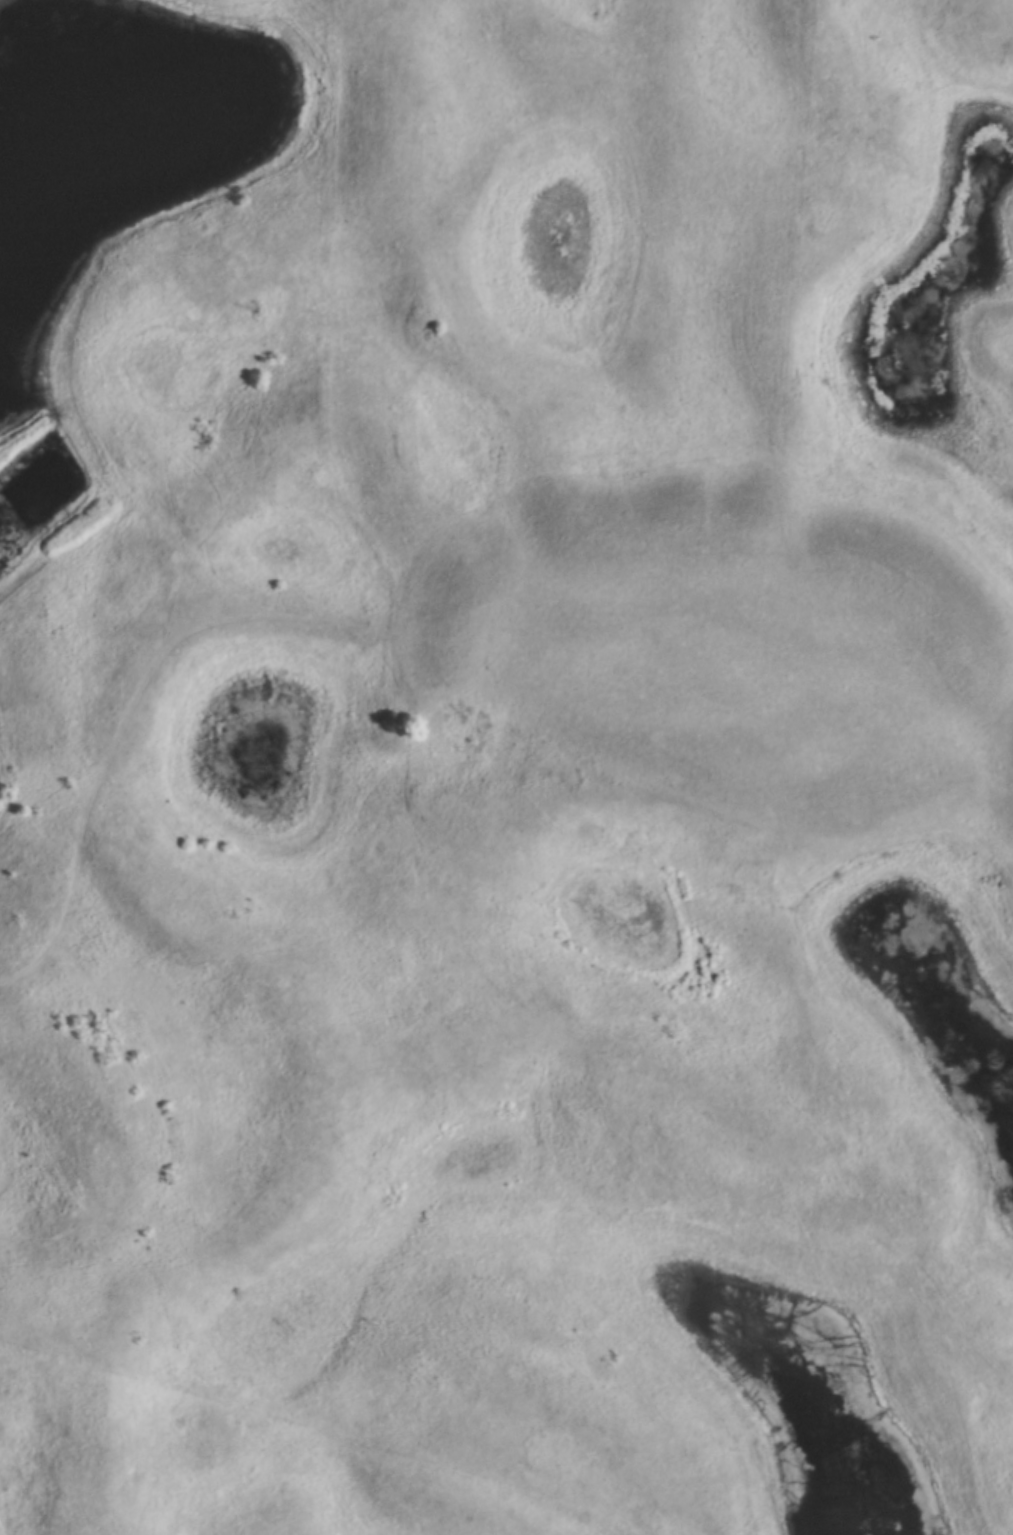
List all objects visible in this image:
road: (4, 1524)

